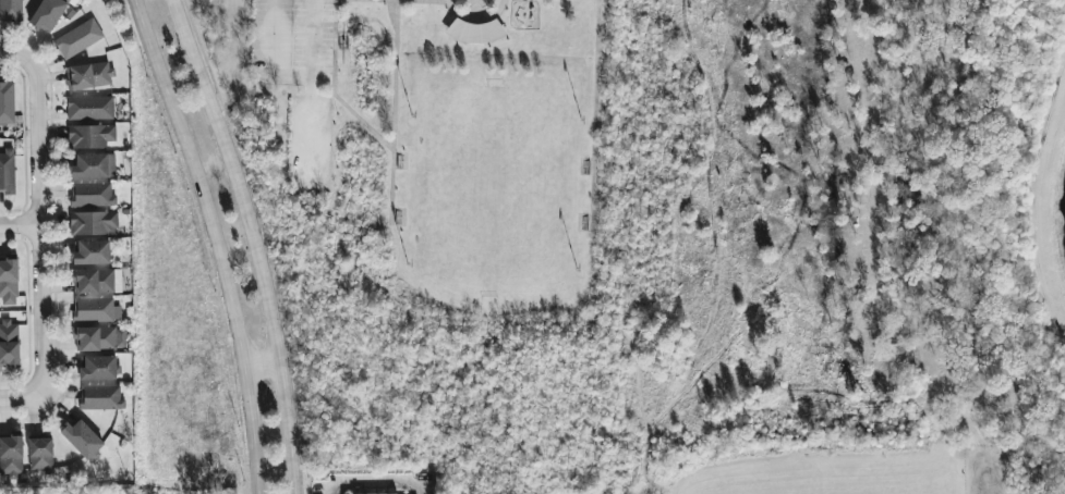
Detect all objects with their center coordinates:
road: (421, 0)
building: (10, 11)
building: (47, 14)
road: (473, 21)
building: (77, 38)
road: (311, 39)
road: (8, 54)
road: (268, 59)
building: (88, 76)
road: (331, 88)
building: (7, 102)
building: (88, 108)
road: (392, 112)
road: (592, 114)
building: (89, 136)
building: (93, 166)
building: (7, 171)
park: (488, 194)
building: (92, 195)
building: (93, 223)
road: (37, 225)
road: (19, 227)
park: (659, 233)
road: (222, 240)
road: (256, 242)
building: (90, 252)
building: (93, 281)
building: (8, 282)
building: (95, 310)
building: (98, 338)
building: (9, 343)
road: (265, 359)
building: (97, 368)
building: (99, 398)
road: (19, 403)
building: (81, 440)
building: (39, 454)
building: (11, 455)
road: (375, 484)

